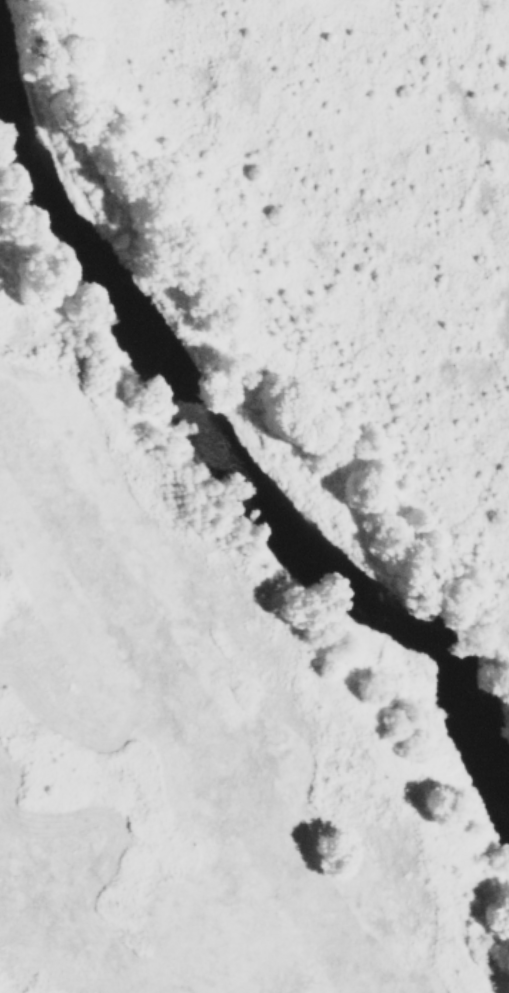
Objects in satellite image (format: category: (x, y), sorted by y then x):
river: (230, 455)

